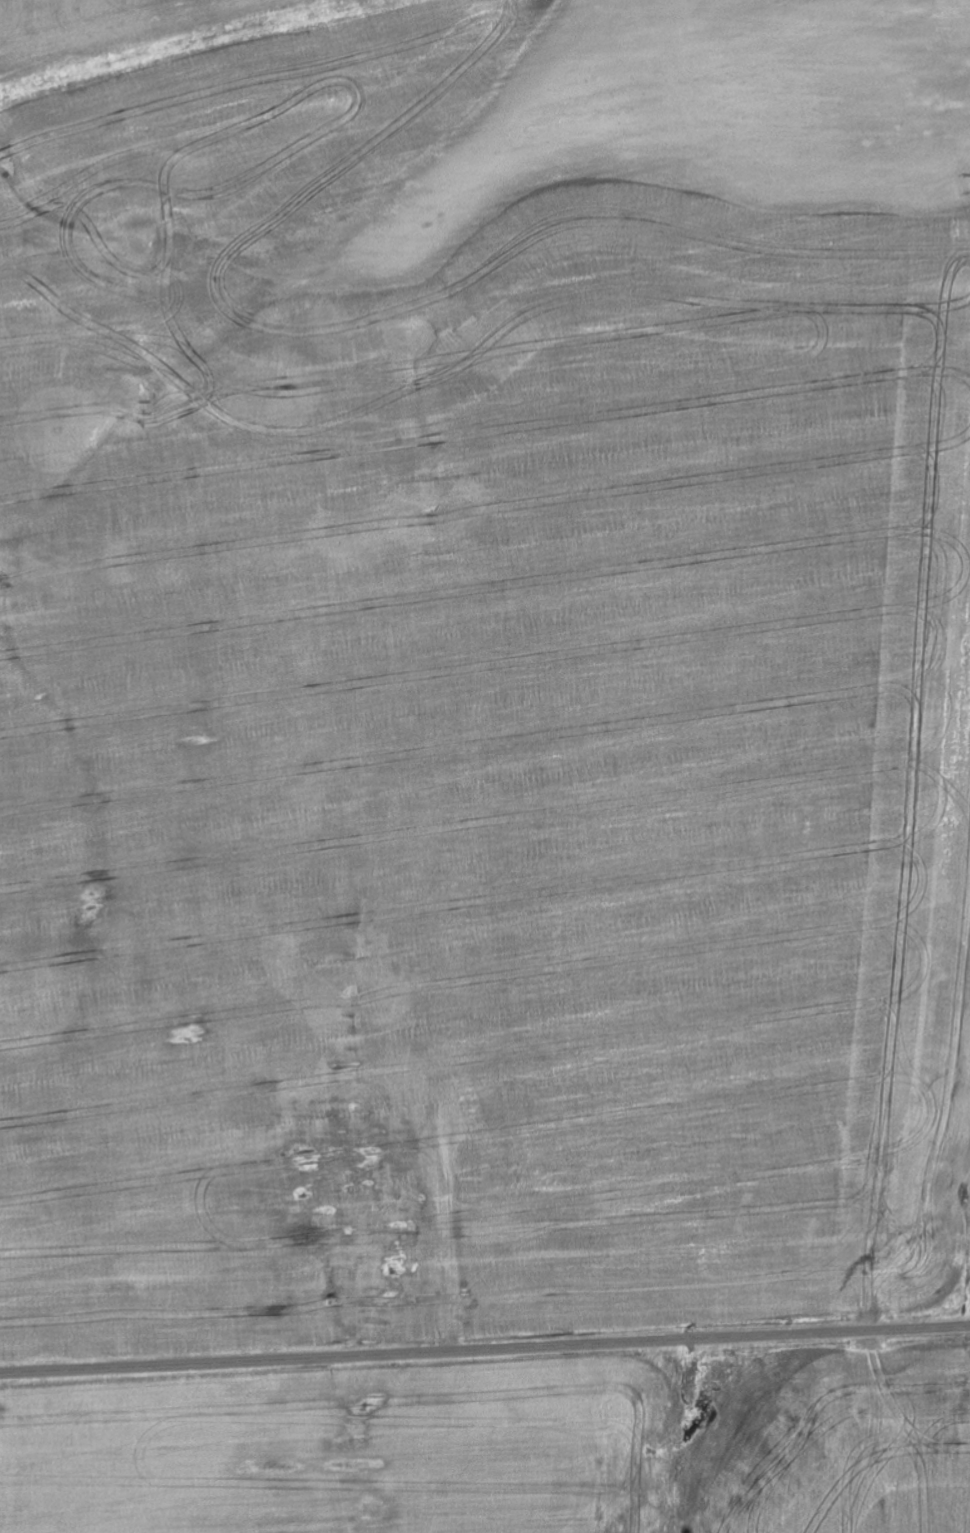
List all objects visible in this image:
road: (485, 1350)

